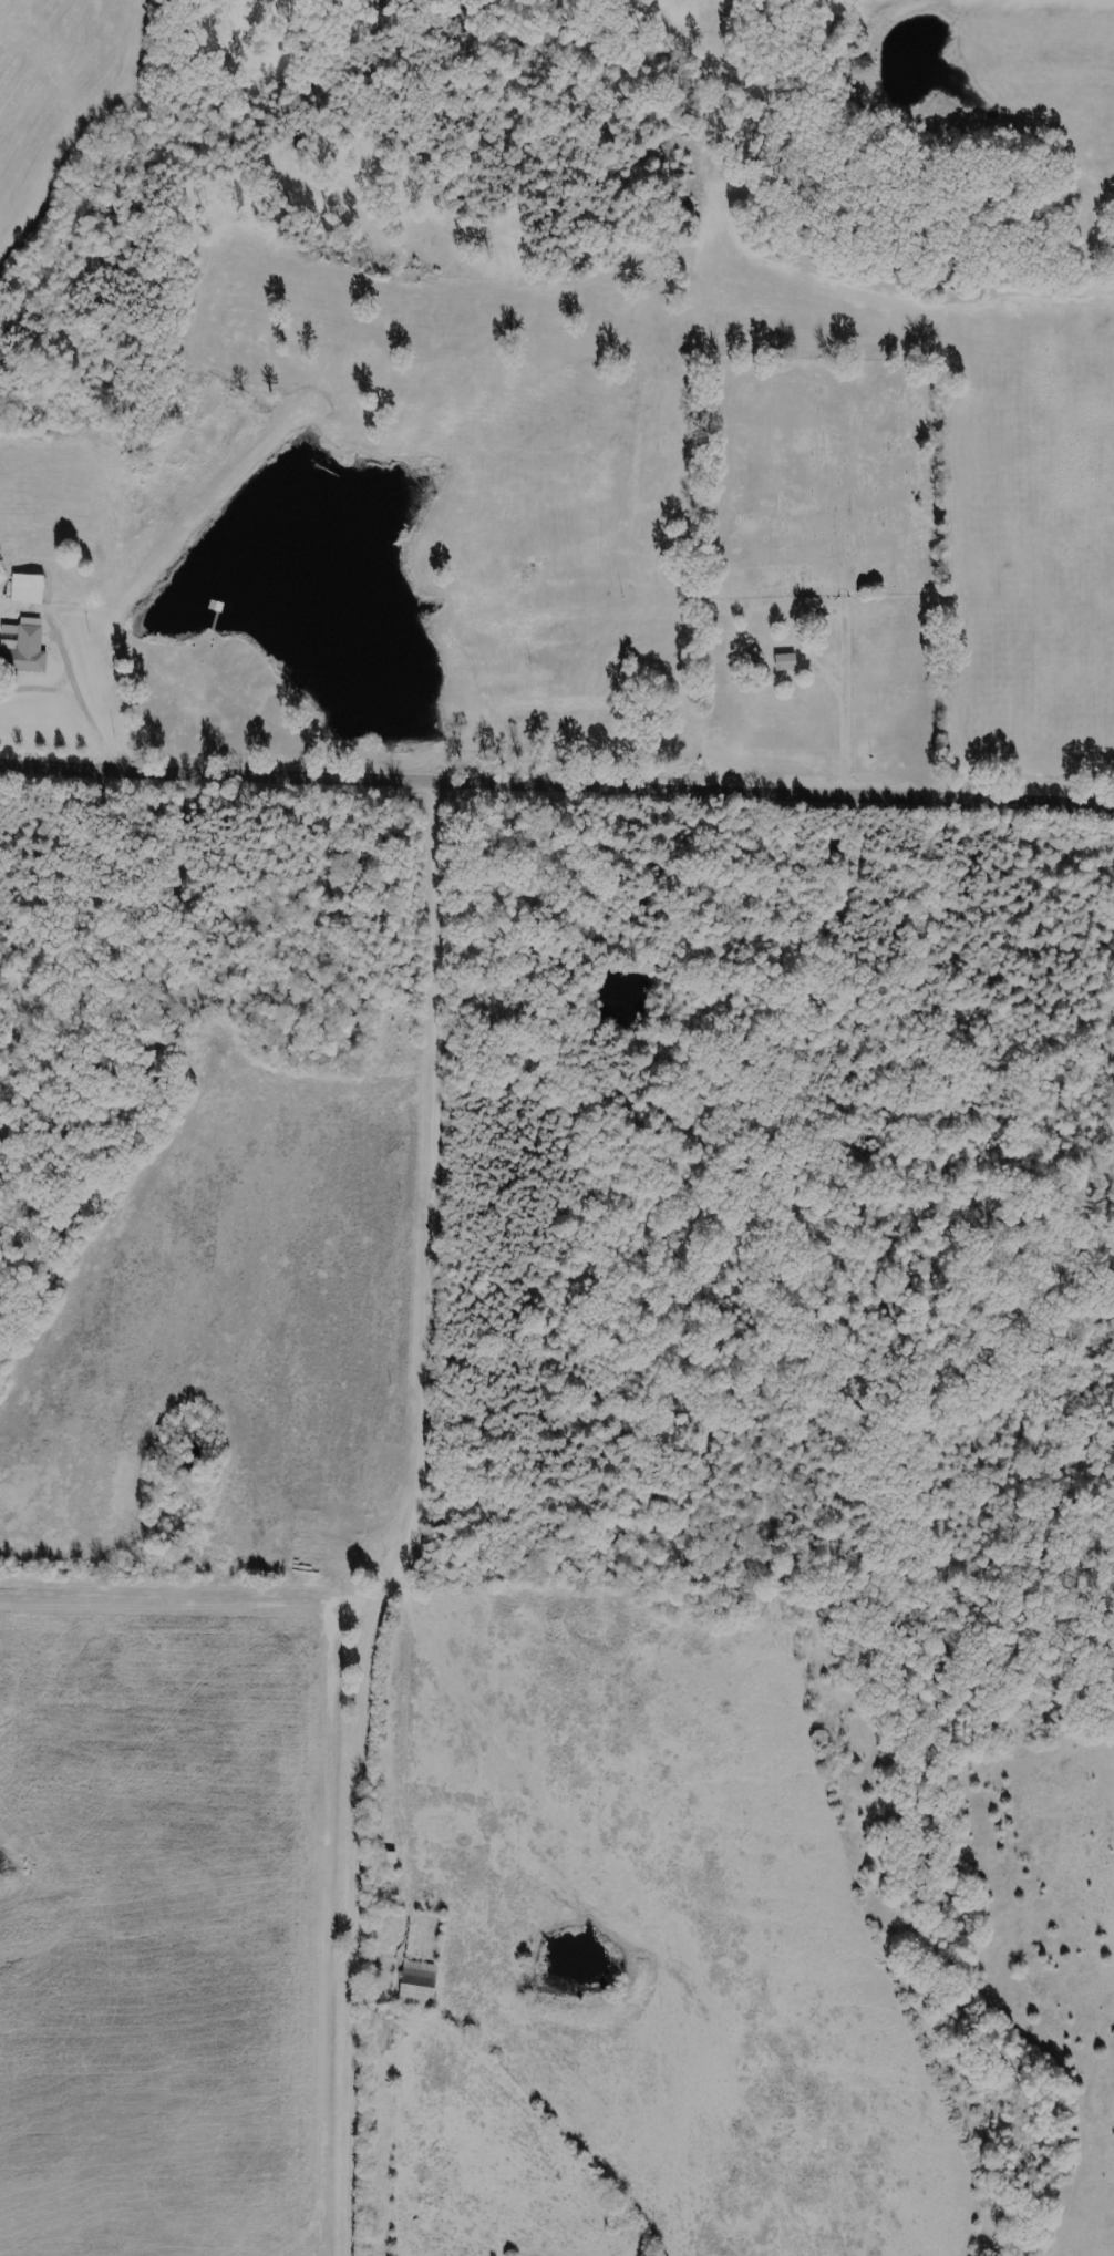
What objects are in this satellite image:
park: (816, 480)
building: (30, 588)
building: (24, 645)
building: (788, 661)
road: (224, 772)
road: (713, 789)
road: (1046, 797)
road: (405, 1521)
building: (422, 1968)
building: (420, 1994)

